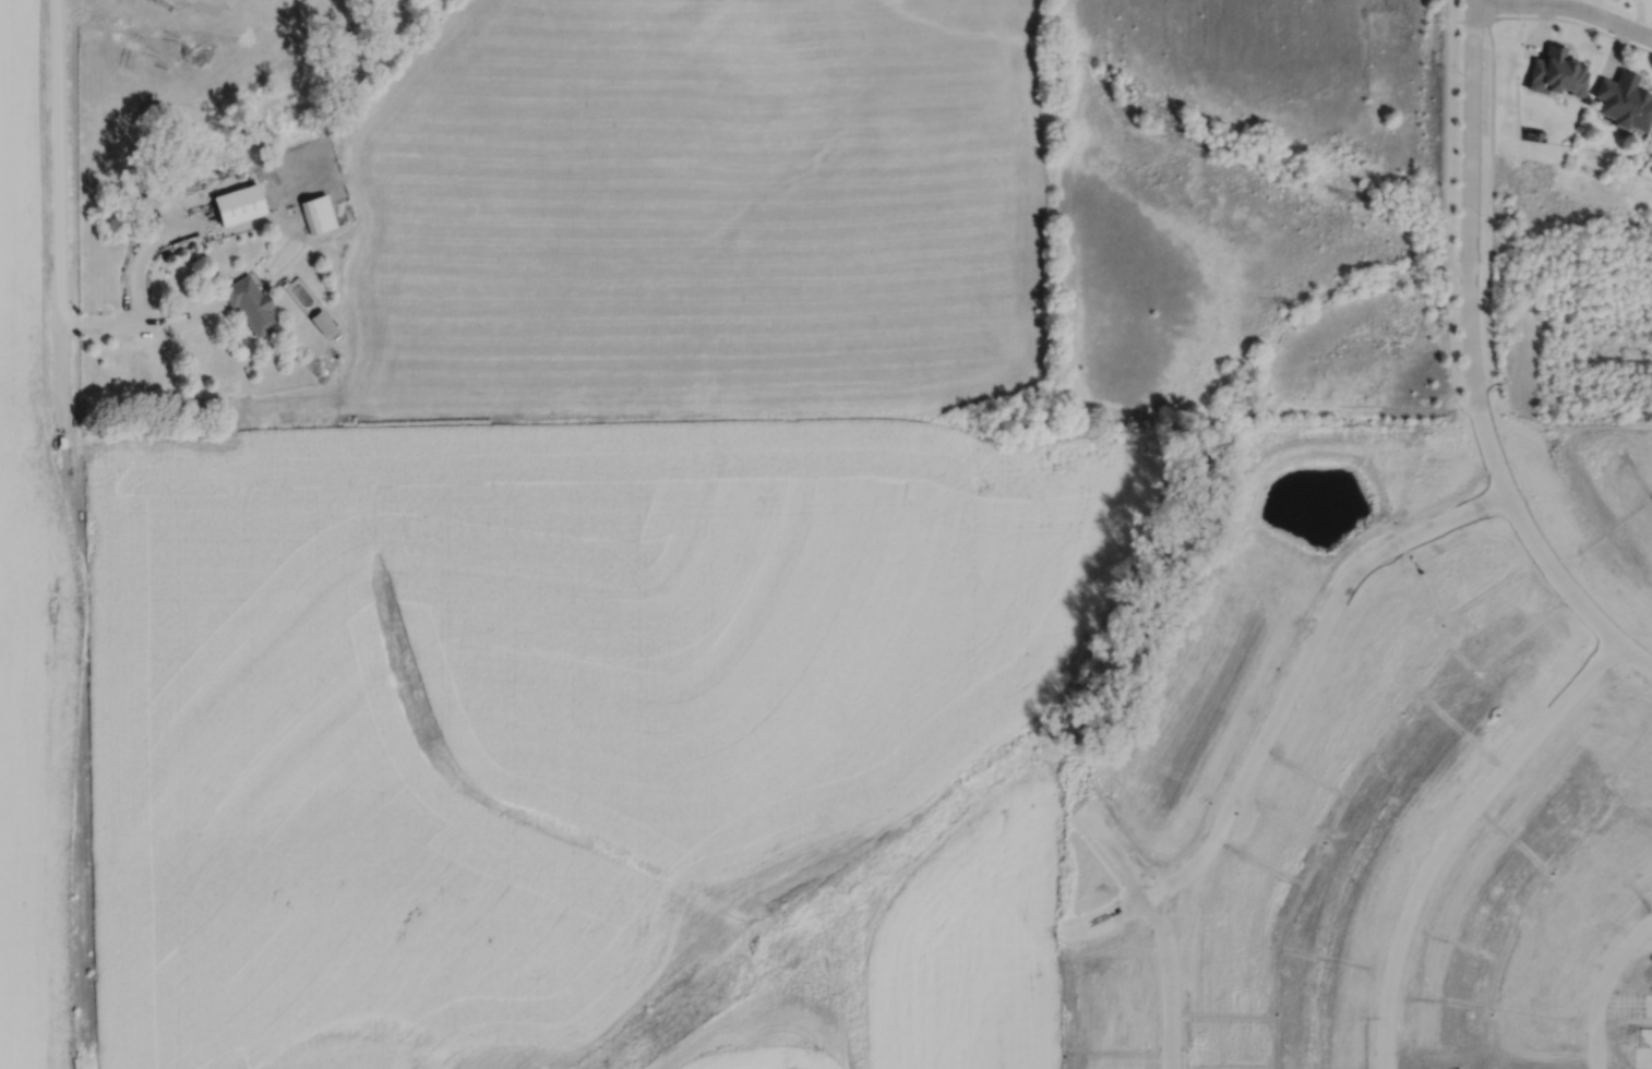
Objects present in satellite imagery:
road: (1566, 4)
road: (1453, 10)
road: (1488, 11)
road: (1471, 22)
building: (1556, 71)
building: (1623, 100)
road: (1450, 203)
road: (1470, 203)
road: (1492, 203)
building: (240, 204)
road: (55, 212)
building: (320, 214)
road: (136, 302)
building: (253, 304)
road: (176, 321)
building: (323, 321)
road: (1573, 353)
building: (1576, 456)
building: (1427, 465)
road: (1541, 553)
building: (1648, 591)
road: (1279, 710)
road: (1457, 837)
road: (1161, 927)
road: (1604, 985)

